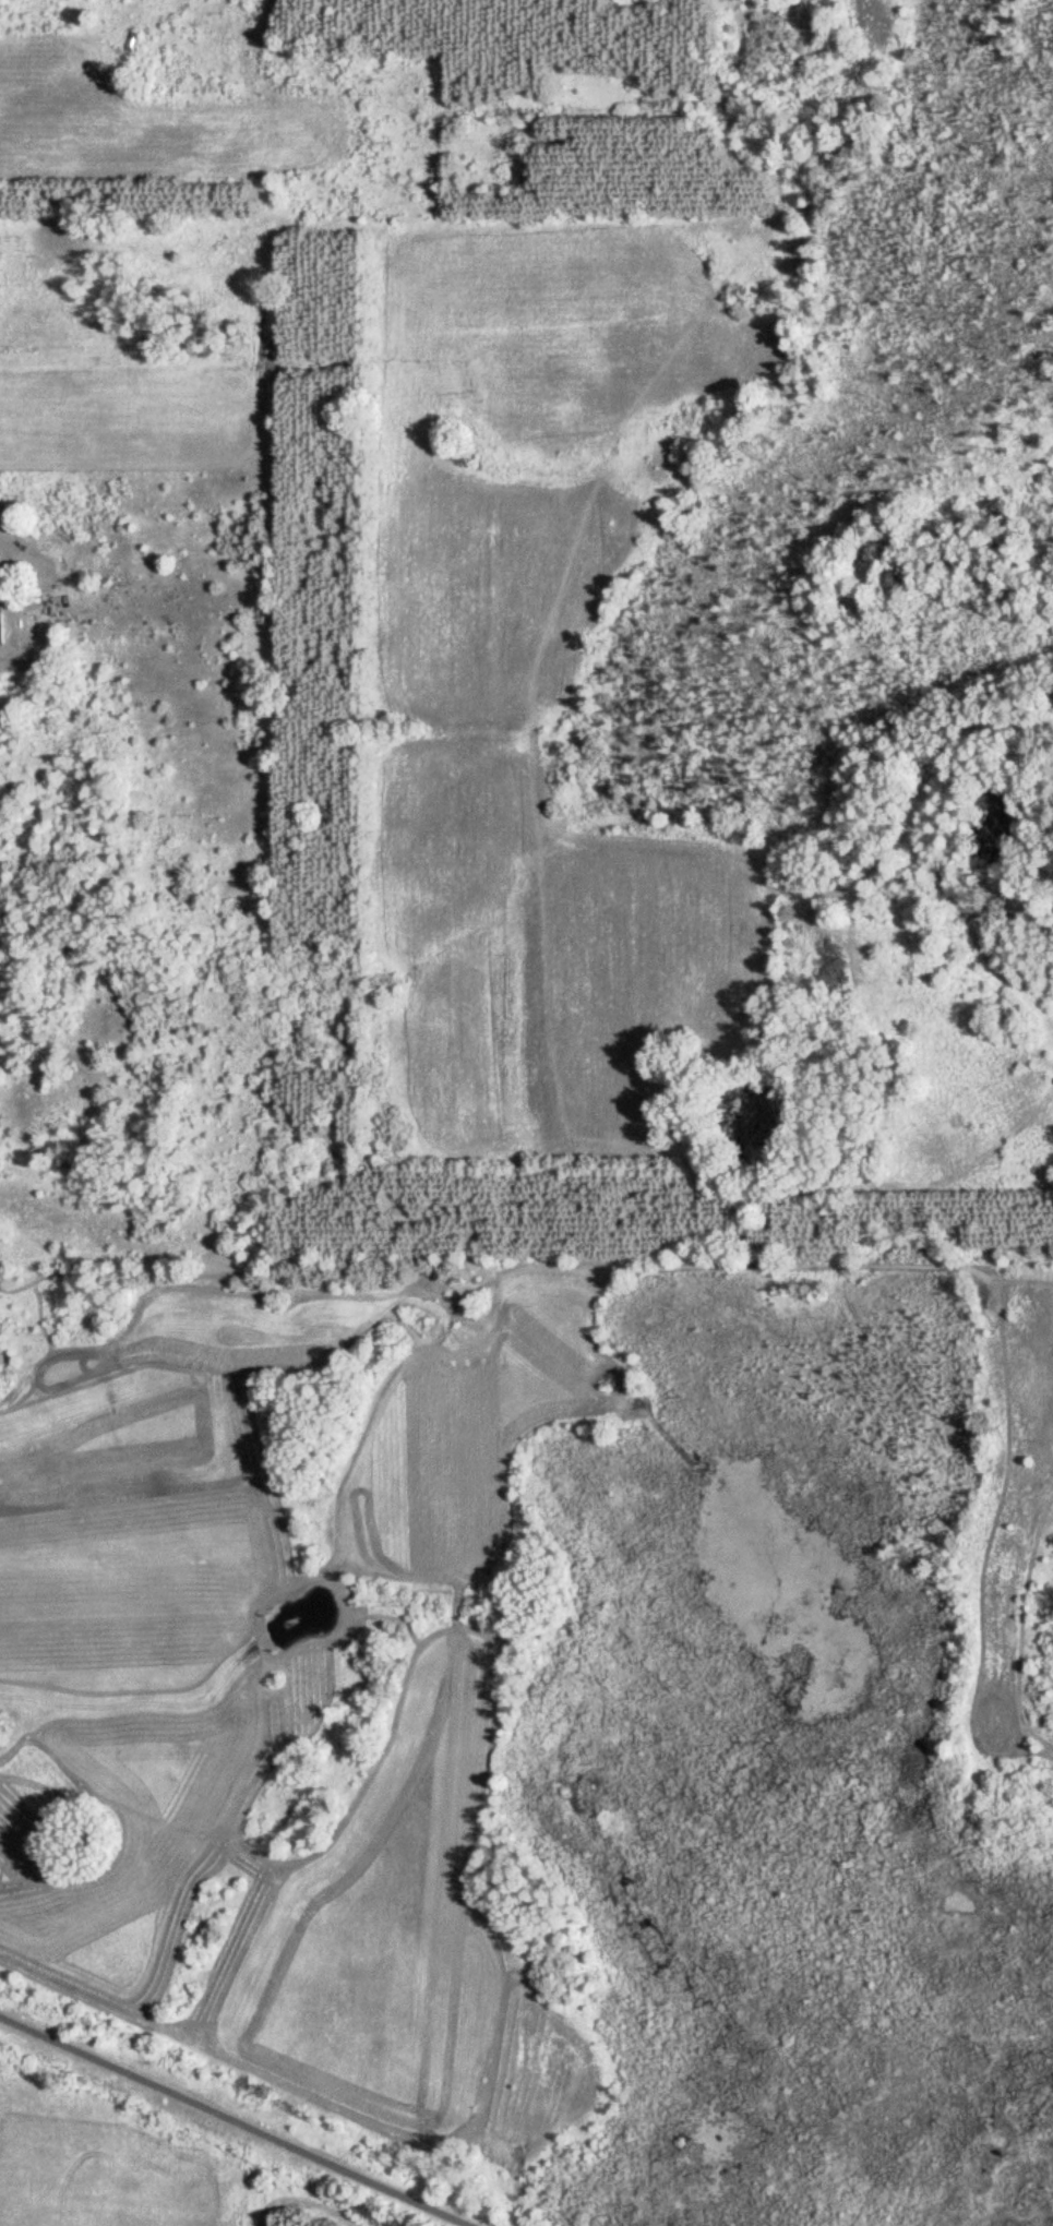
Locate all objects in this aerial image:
building: (133, 47)
building: (3, 627)
road: (236, 2120)

